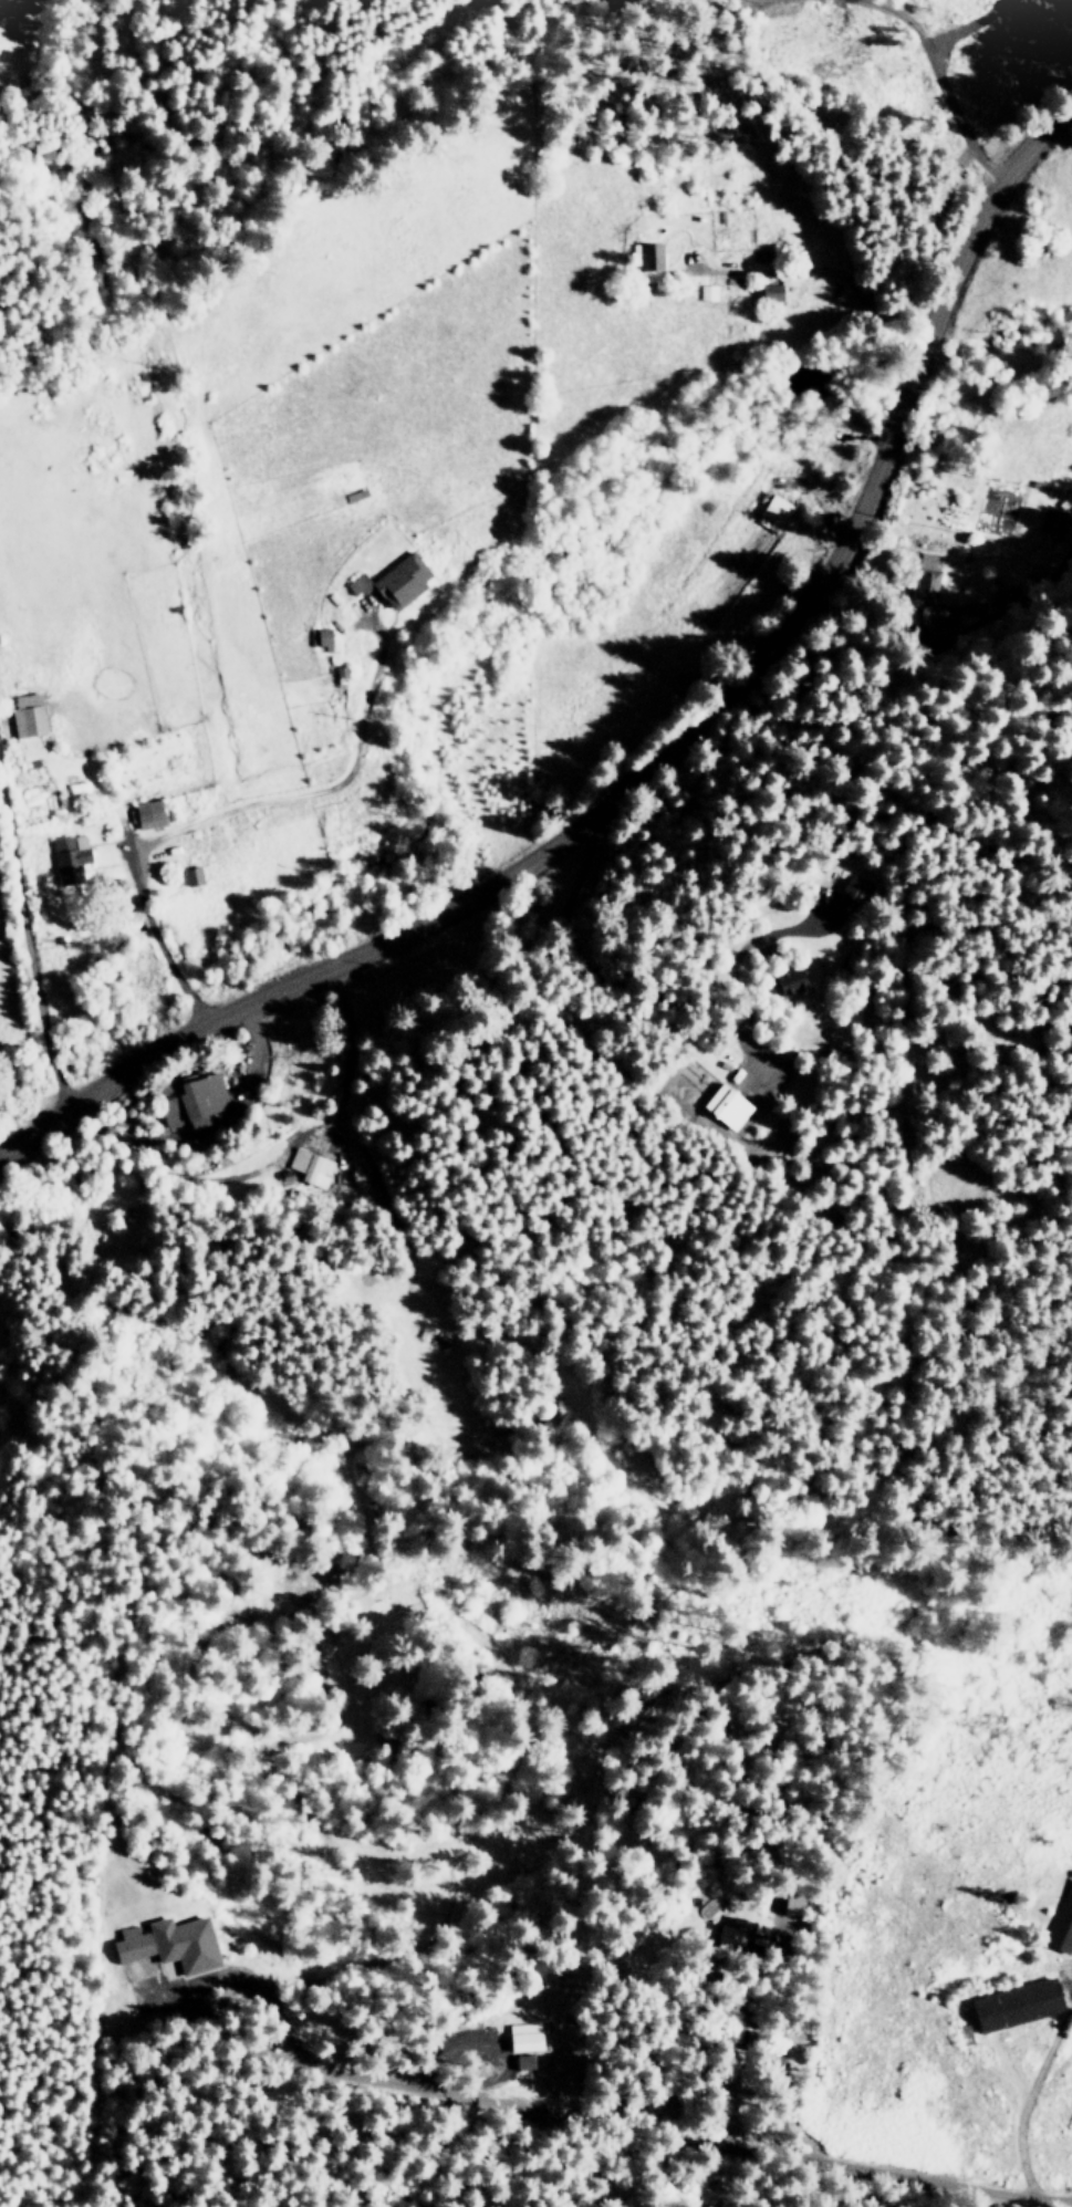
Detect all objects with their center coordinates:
road: (933, 84)
road: (823, 268)
building: (707, 291)
building: (771, 292)
building: (776, 508)
building: (1055, 521)
building: (927, 572)
building: (395, 580)
building: (971, 606)
building: (943, 614)
building: (321, 637)
building: (28, 714)
road: (663, 756)
road: (232, 809)
building: (149, 813)
building: (70, 856)
building: (192, 875)
building: (853, 889)
road: (29, 946)
building: (790, 979)
building: (192, 1097)
building: (727, 1105)
building: (311, 1166)
building: (1062, 1922)
building: (740, 1930)
building: (185, 1941)
building: (133, 1943)
building: (1018, 2003)
building: (521, 2036)
building: (521, 2060)
road: (1012, 2114)

